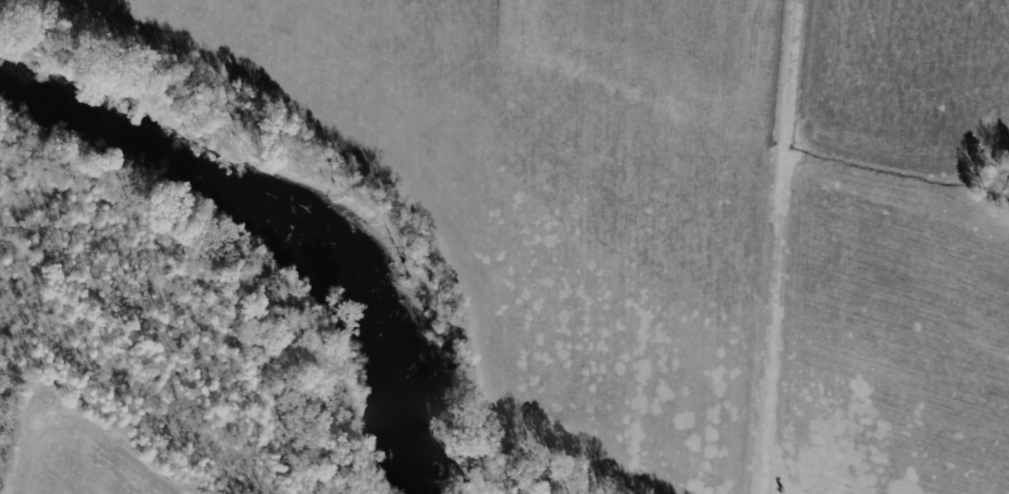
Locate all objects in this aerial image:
river: (289, 223)

